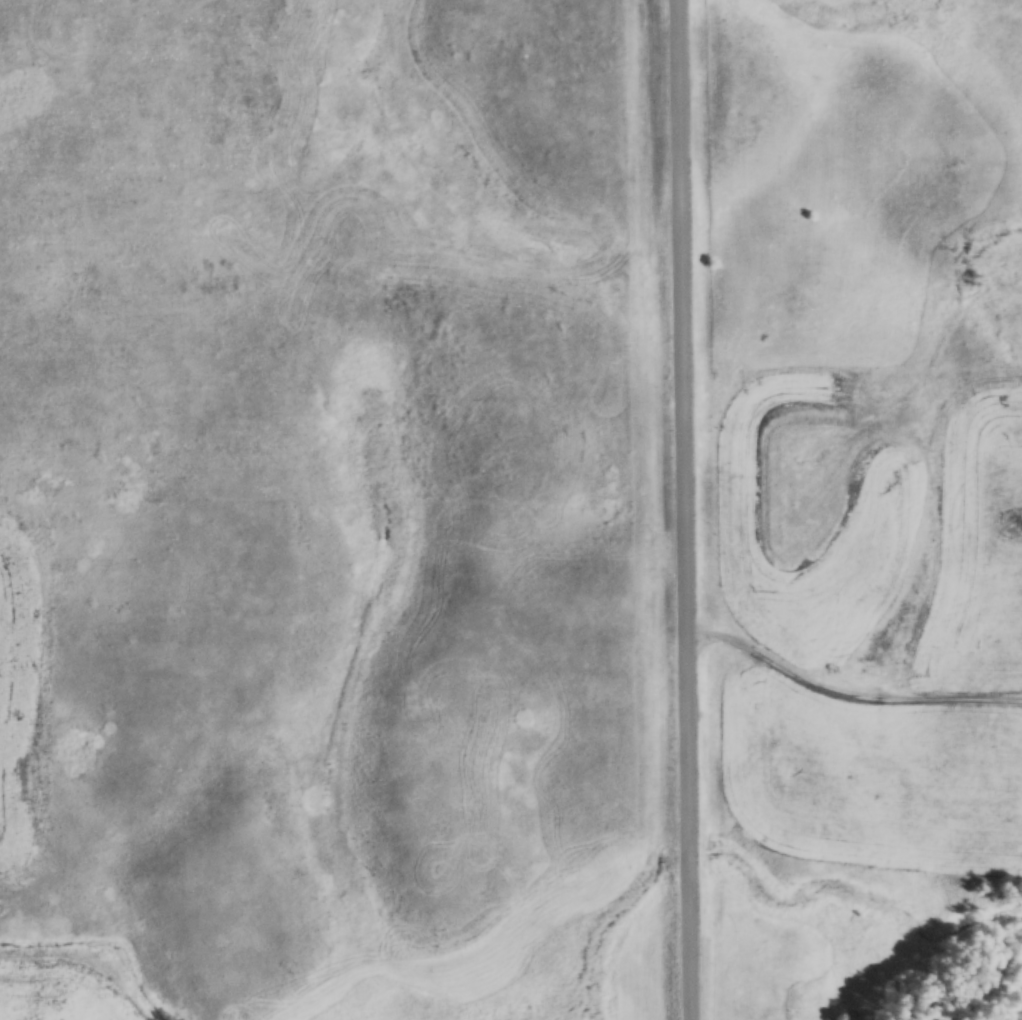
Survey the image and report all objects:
river: (1016, 341)
road: (683, 510)

